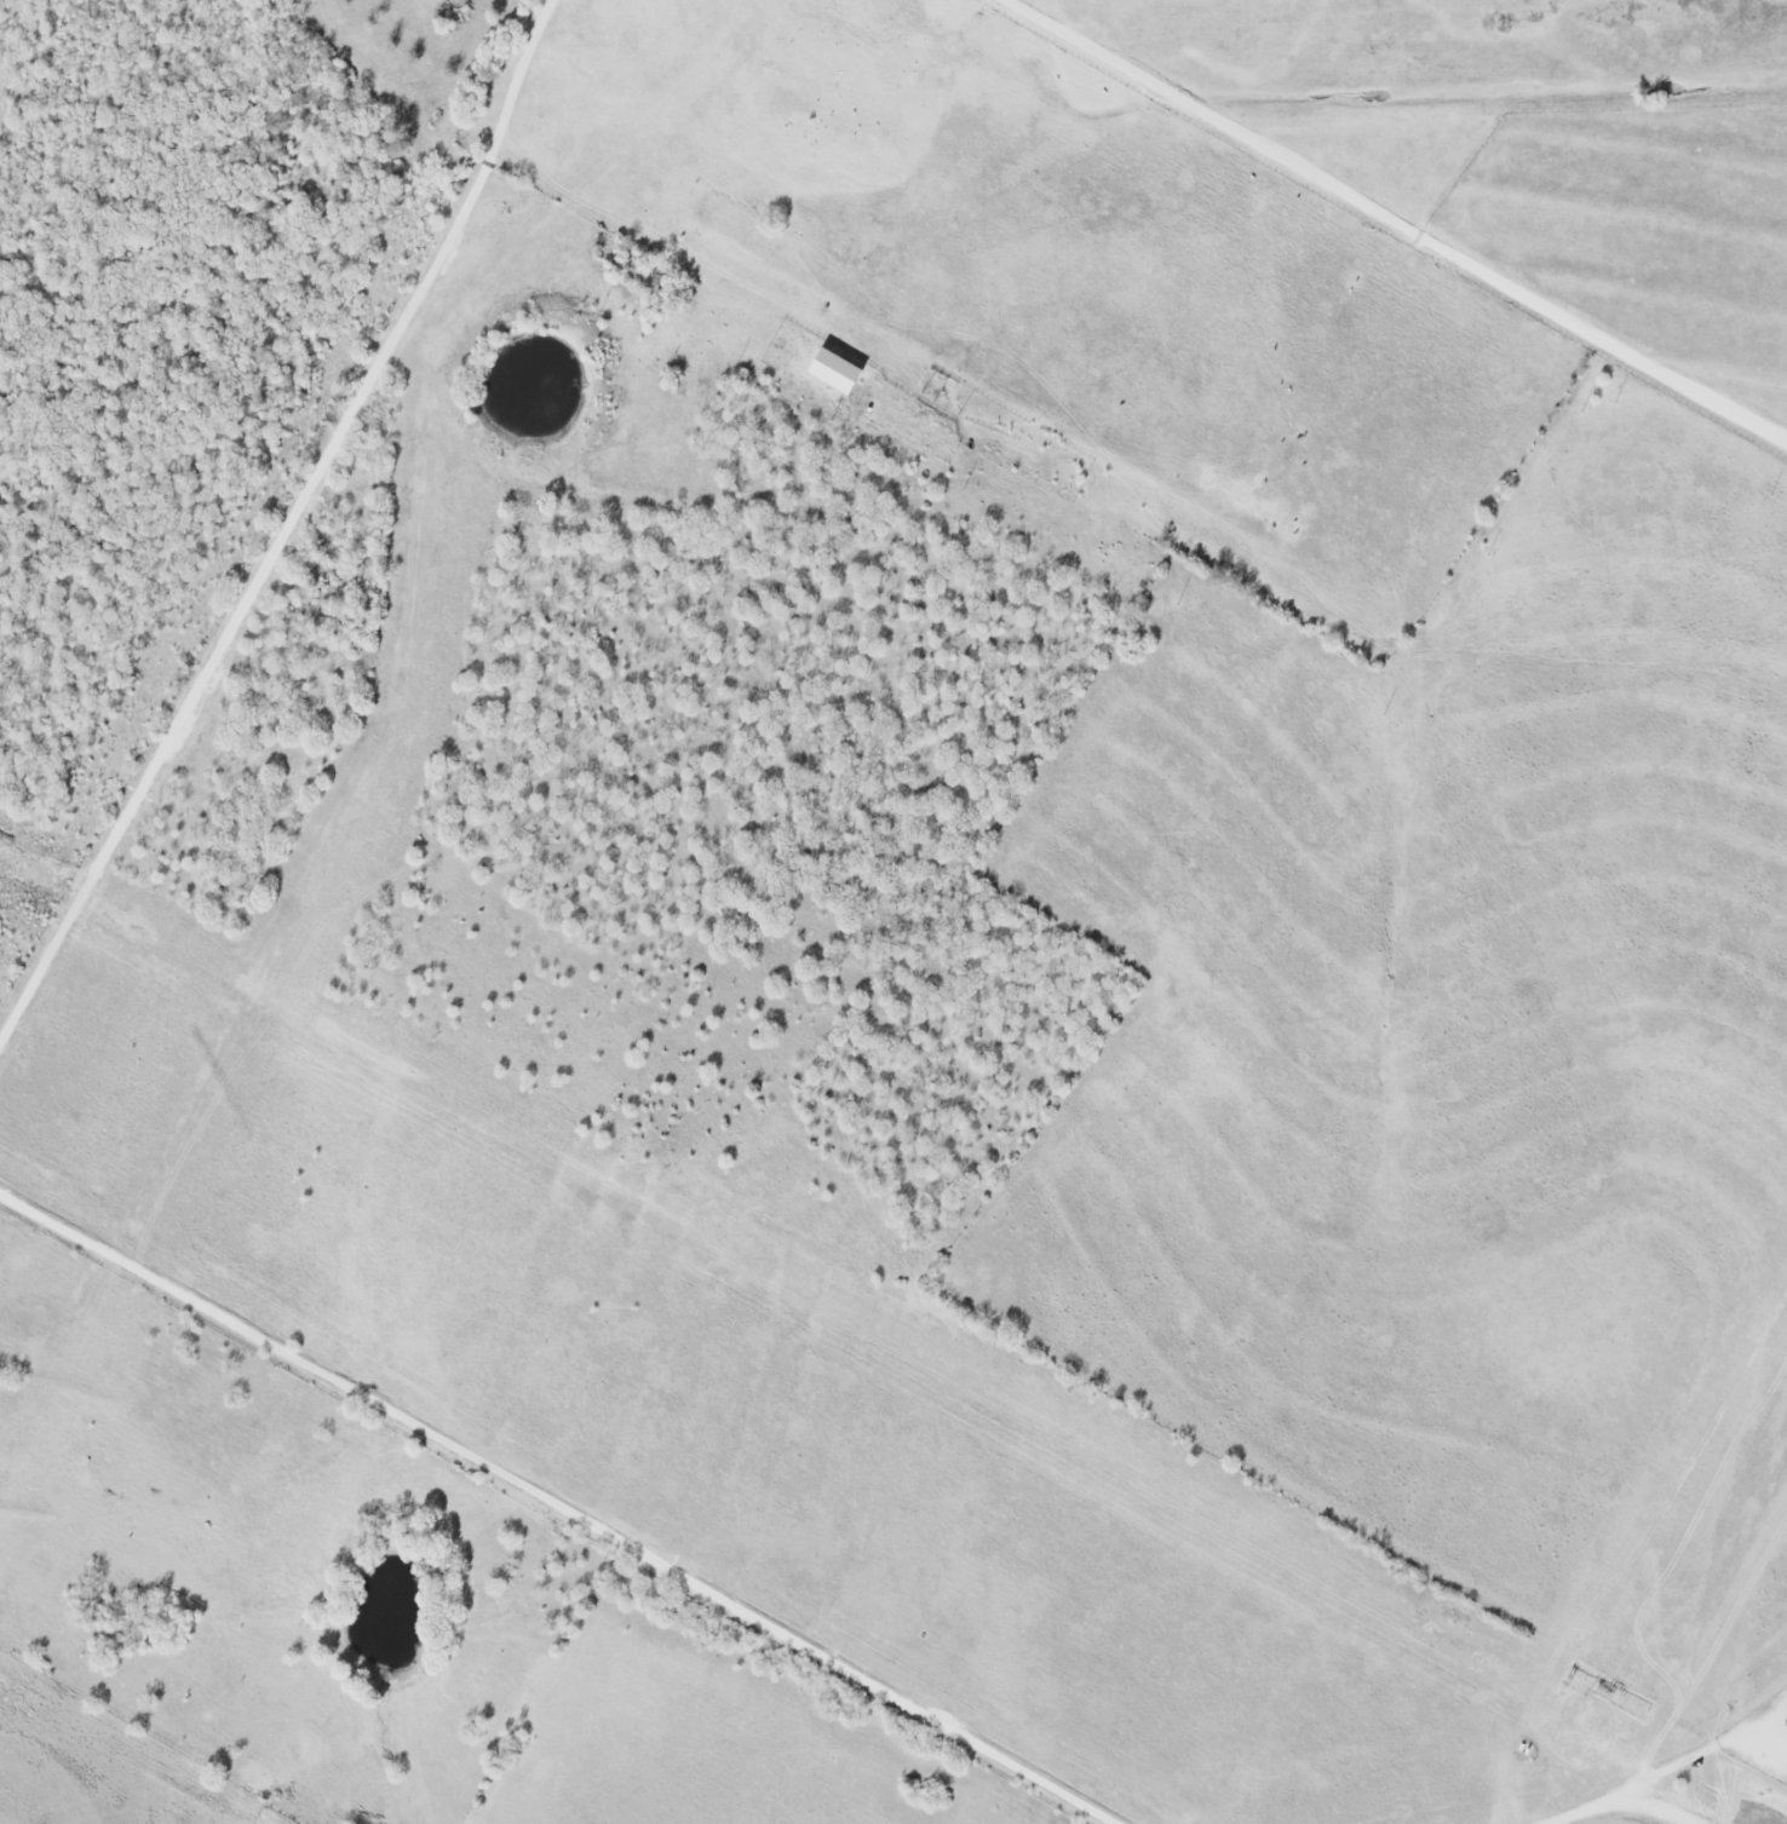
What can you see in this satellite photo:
road: (1398, 220)
building: (837, 370)
road: (1775, 430)
road: (289, 539)
road: (563, 1500)
road: (1621, 1805)

